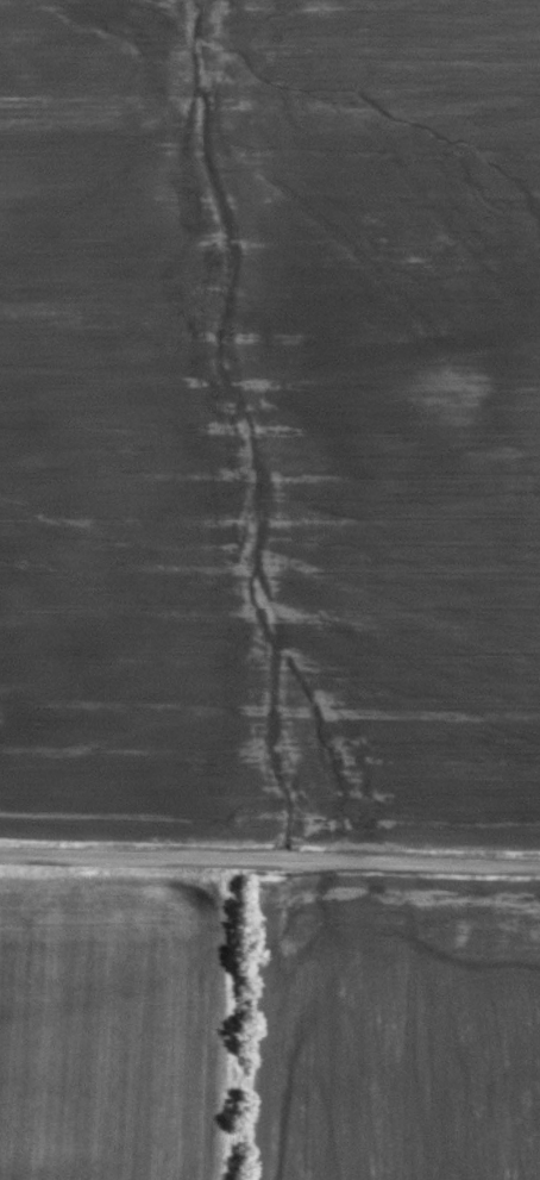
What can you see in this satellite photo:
road: (270, 860)

